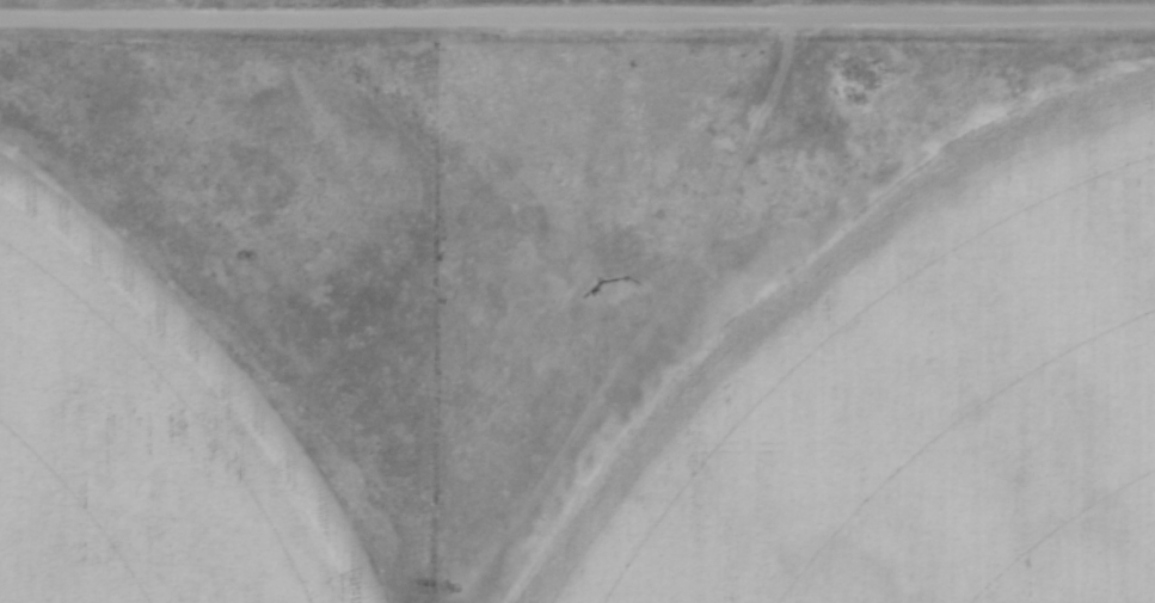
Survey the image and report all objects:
road: (577, 17)

